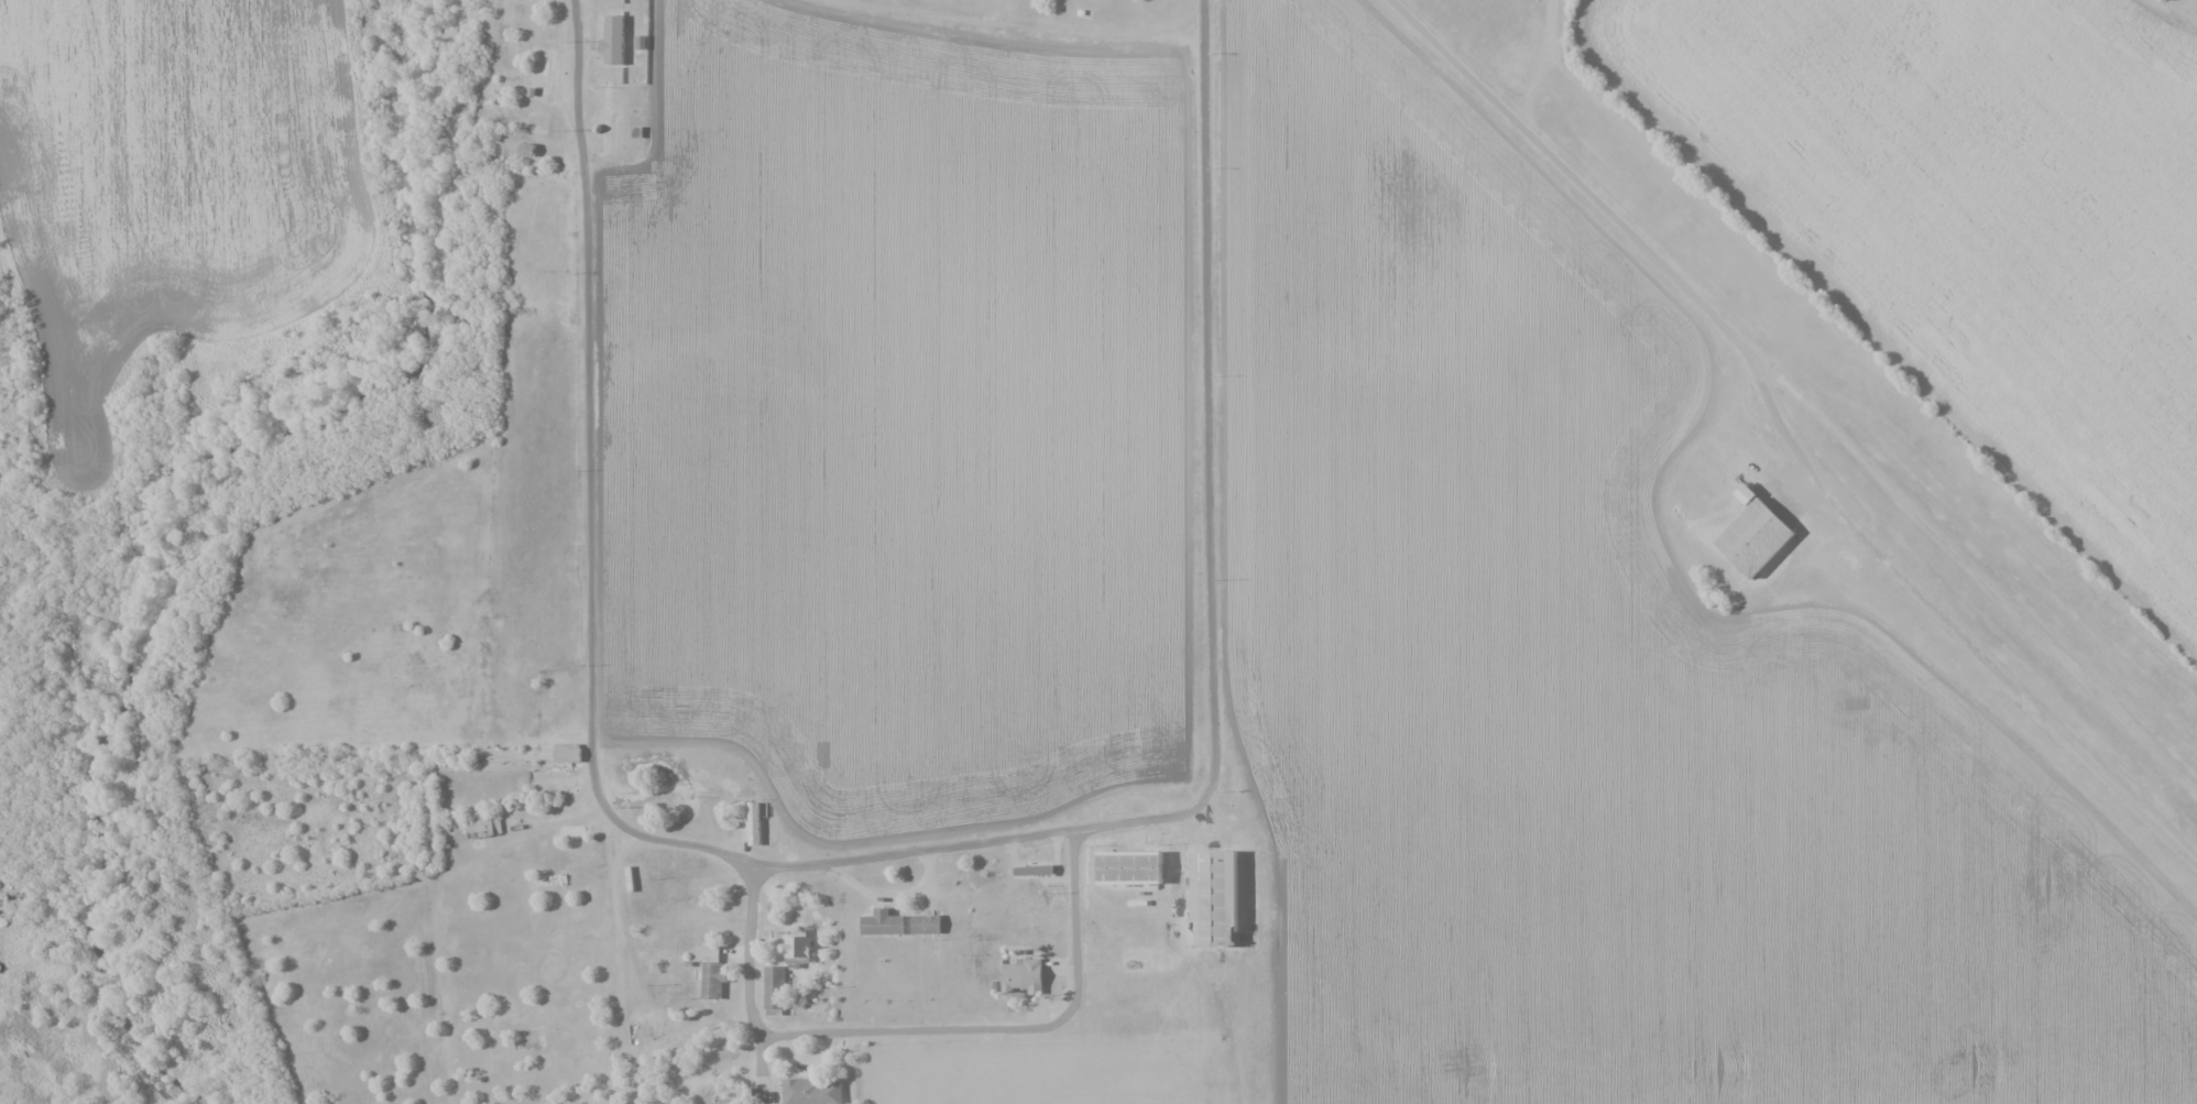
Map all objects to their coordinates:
road: (2165, 7)
building: (615, 39)
road: (1575, 179)
road: (1211, 468)
building: (1753, 537)
road: (593, 647)
airport runway: (2013, 674)
building: (569, 753)
building: (484, 822)
building: (753, 826)
building: (1132, 867)
building: (675, 871)
building: (1037, 872)
building: (963, 878)
building: (1216, 899)
building: (909, 922)
building: (799, 947)
building: (1024, 975)
building: (713, 981)
building: (775, 988)
road: (925, 1028)
building: (812, 1091)

